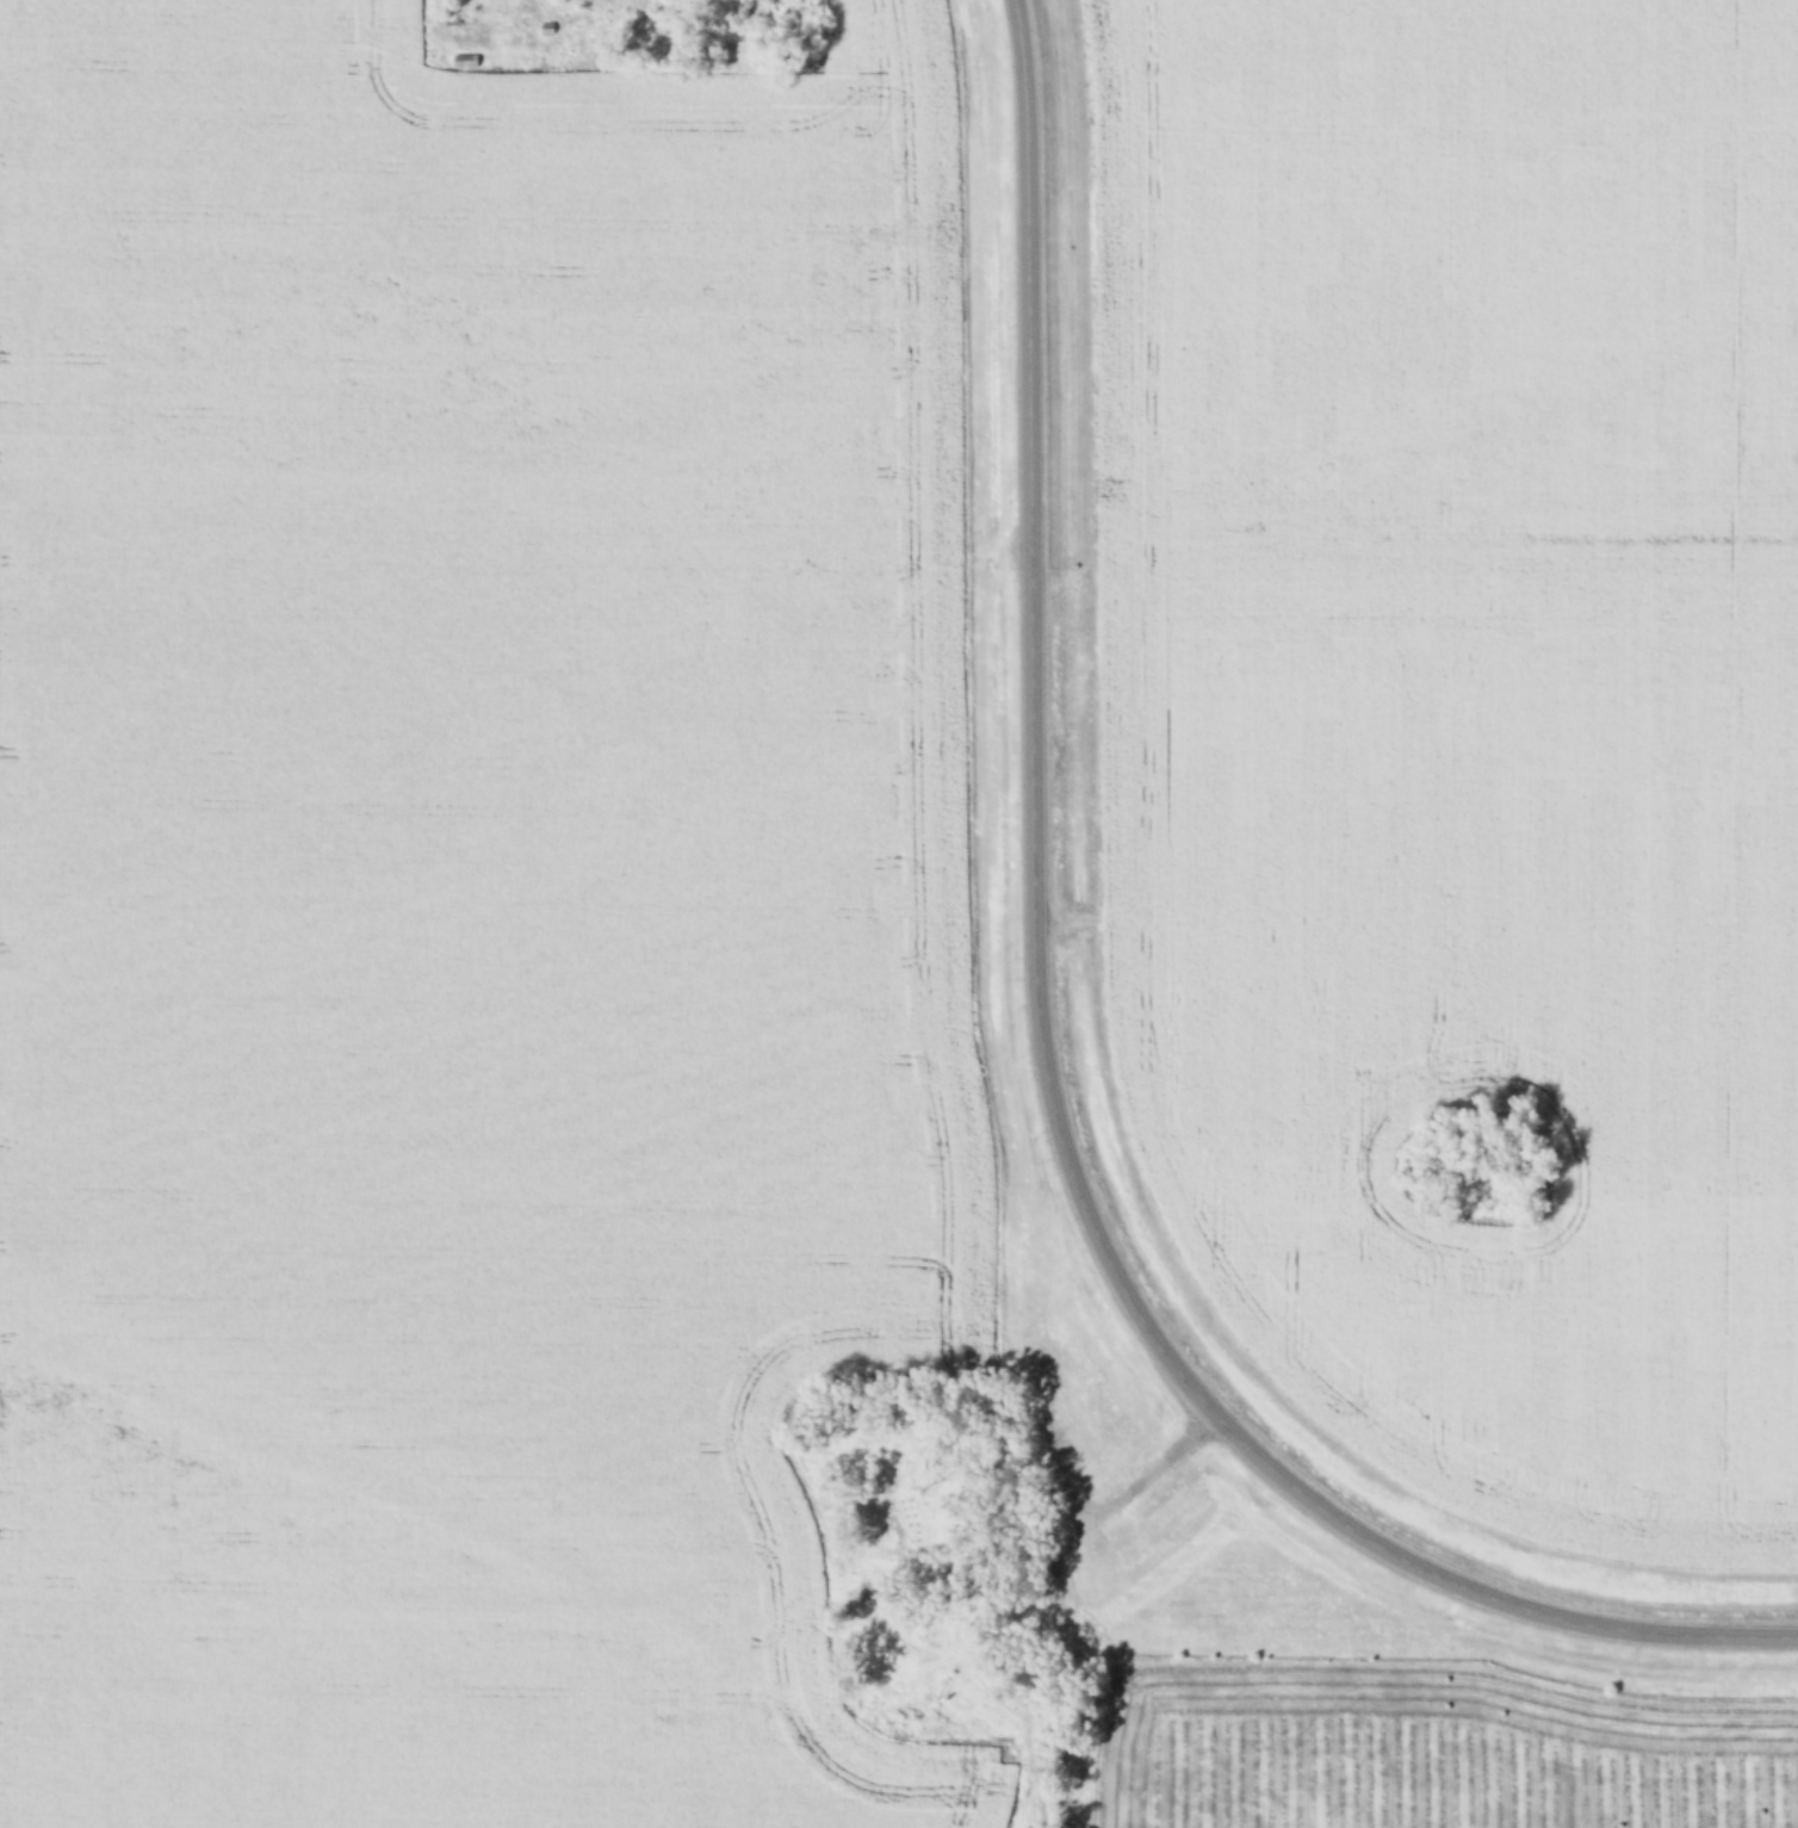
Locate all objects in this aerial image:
road: (1046, 1052)

